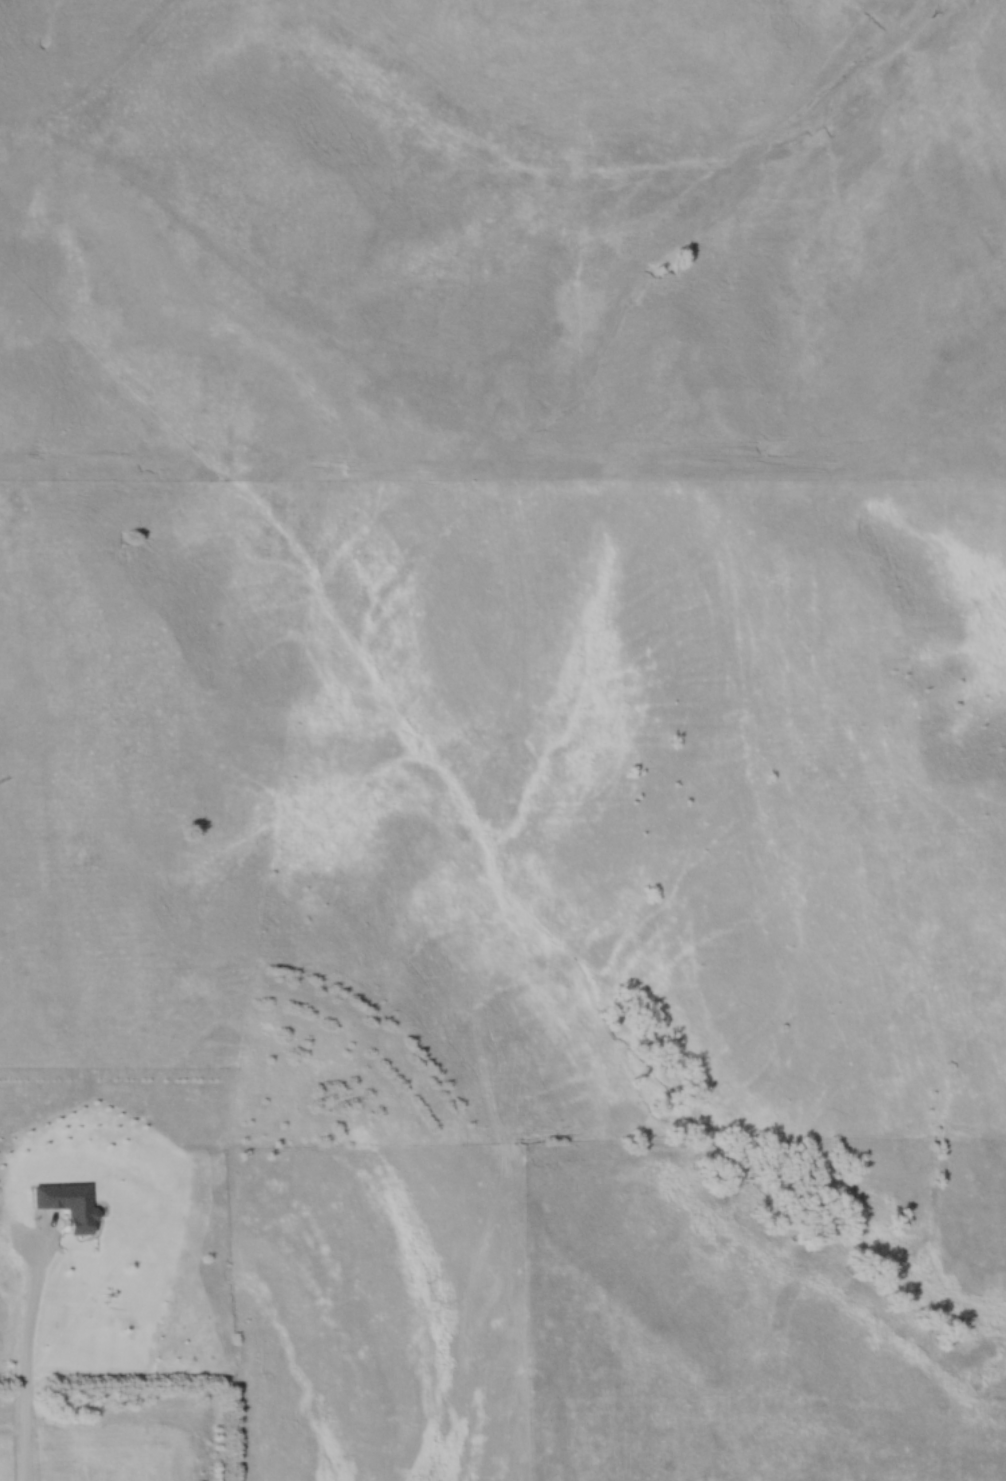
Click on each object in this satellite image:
building: (65, 1204)
road: (22, 1352)

